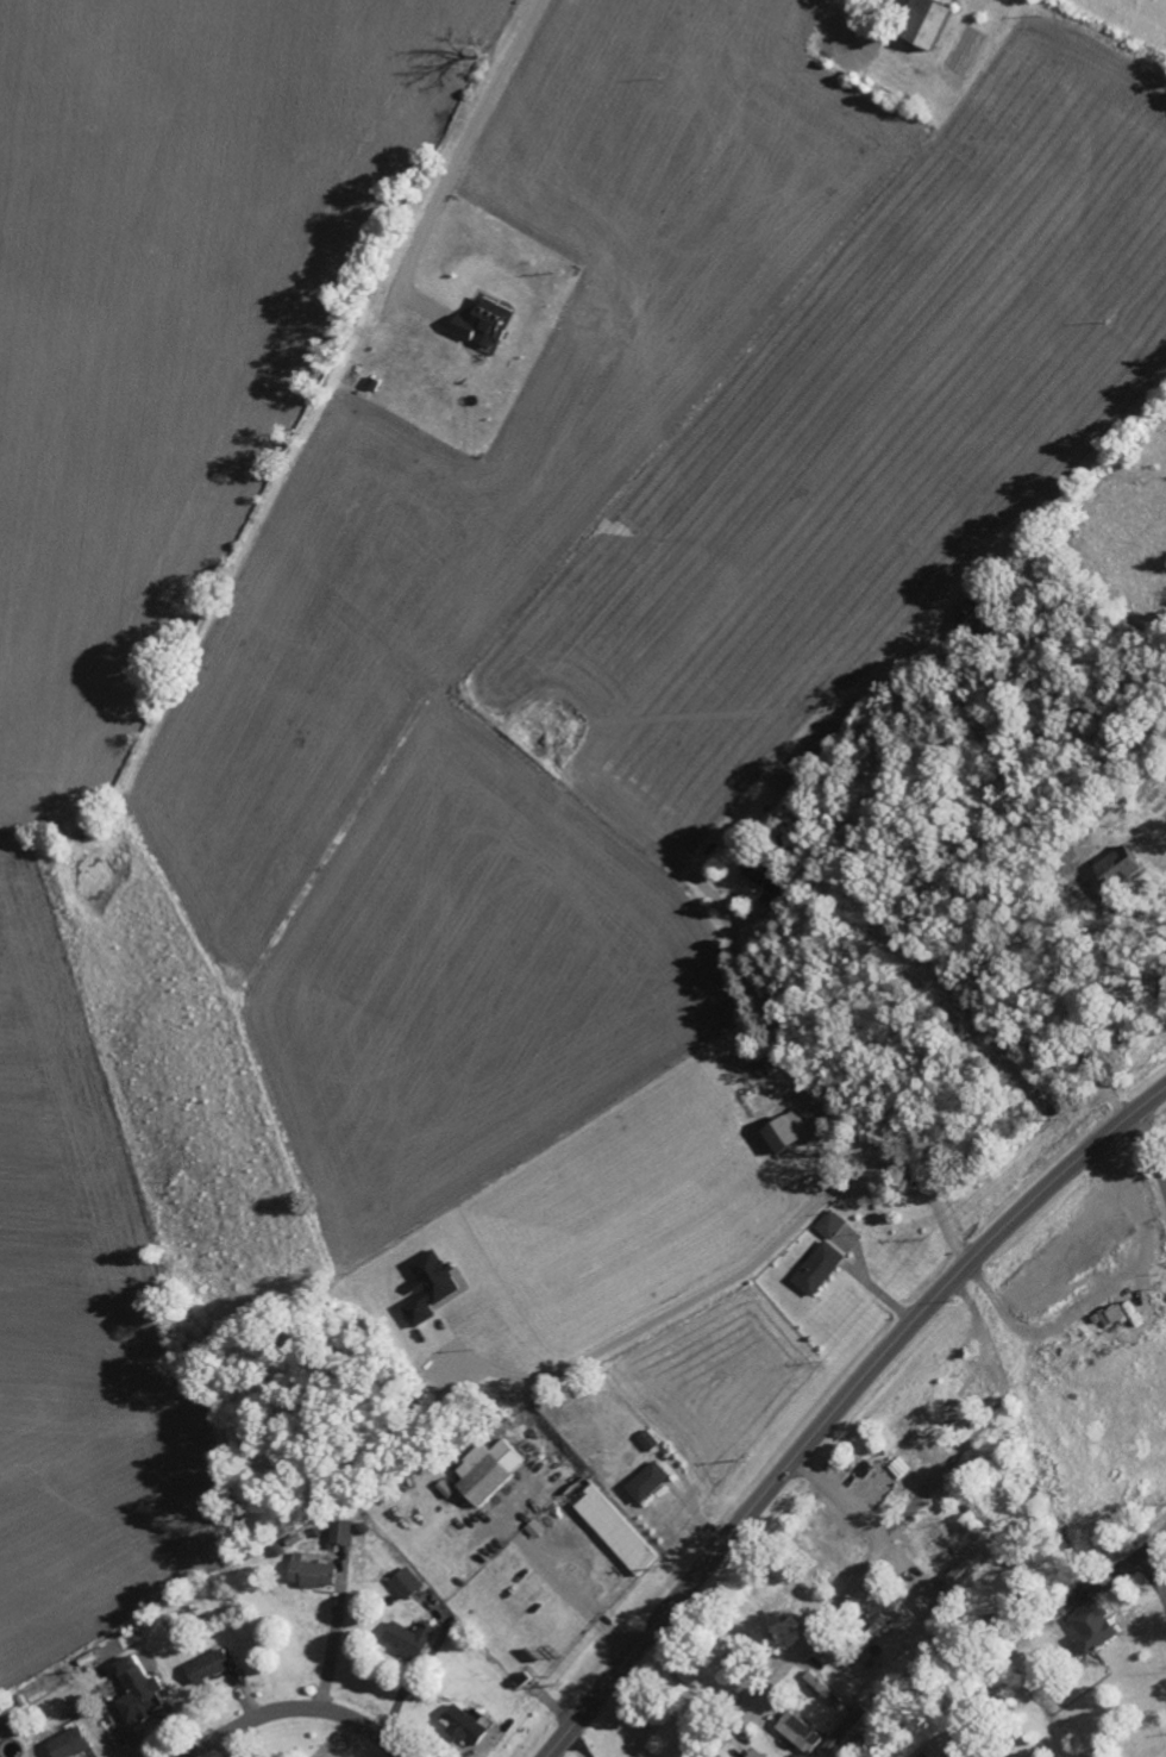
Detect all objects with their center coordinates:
building: (927, 21)
road: (460, 146)
building: (482, 324)
building: (974, 608)
building: (1117, 869)
building: (766, 876)
building: (785, 1131)
road: (1149, 1150)
building: (829, 1225)
building: (1104, 1240)
building: (819, 1269)
building: (428, 1287)
building: (1117, 1314)
building: (978, 1386)
road: (839, 1405)
building: (911, 1438)
building: (487, 1470)
building: (650, 1482)
road: (939, 1482)
building: (882, 1492)
building: (833, 1528)
building: (615, 1531)
building: (815, 1551)
road: (1156, 1567)
building: (968, 1568)
building: (312, 1574)
building: (405, 1583)
building: (773, 1589)
road: (851, 1593)
building: (935, 1596)
building: (784, 1614)
building: (1093, 1627)
building: (876, 1631)
building: (408, 1639)
building: (207, 1667)
building: (820, 1686)
building: (136, 1692)
road: (293, 1709)
building: (464, 1724)
building: (800, 1733)
building: (0, 1737)
building: (69, 1744)
building: (756, 1753)

